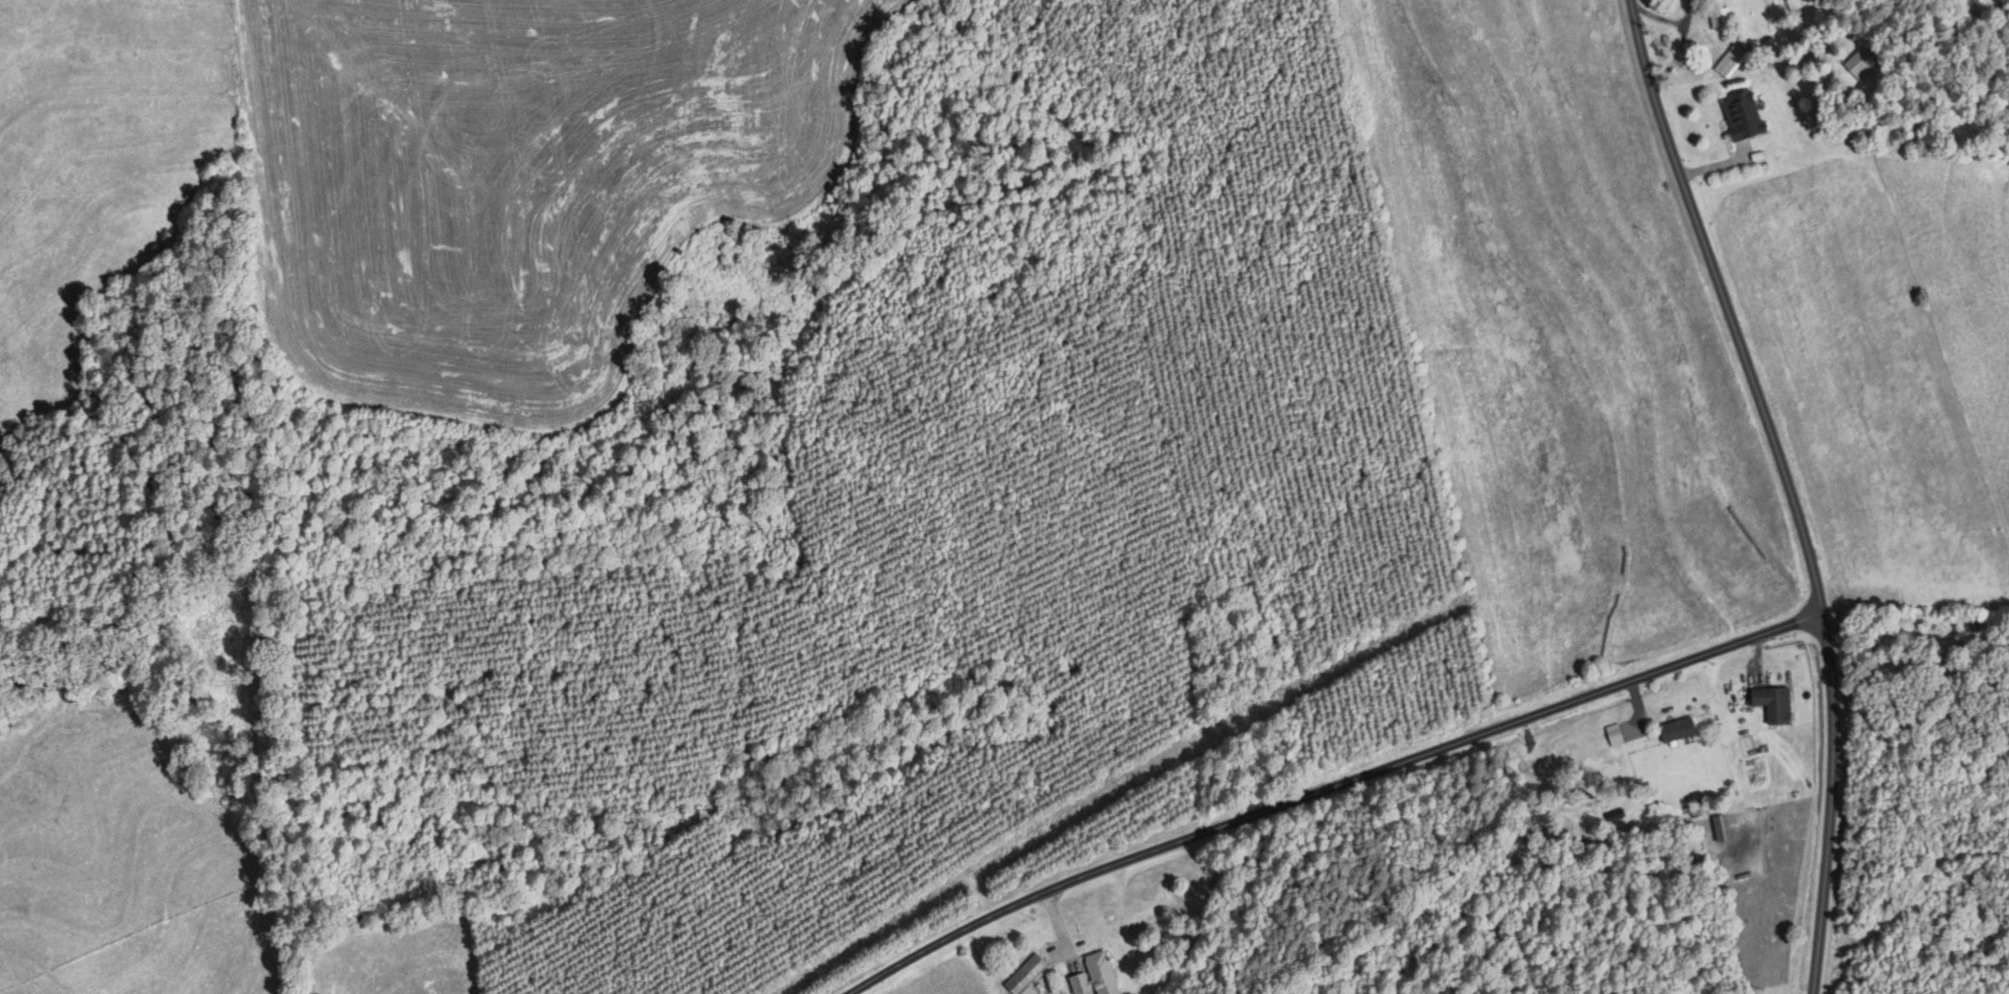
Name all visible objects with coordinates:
building: (1721, 19)
building: (1732, 61)
building: (1862, 64)
building: (1743, 115)
road: (1792, 486)
road: (1879, 655)
building: (1945, 665)
building: (1774, 703)
building: (1678, 729)
road: (1319, 783)
building: (1096, 976)
building: (1027, 977)

